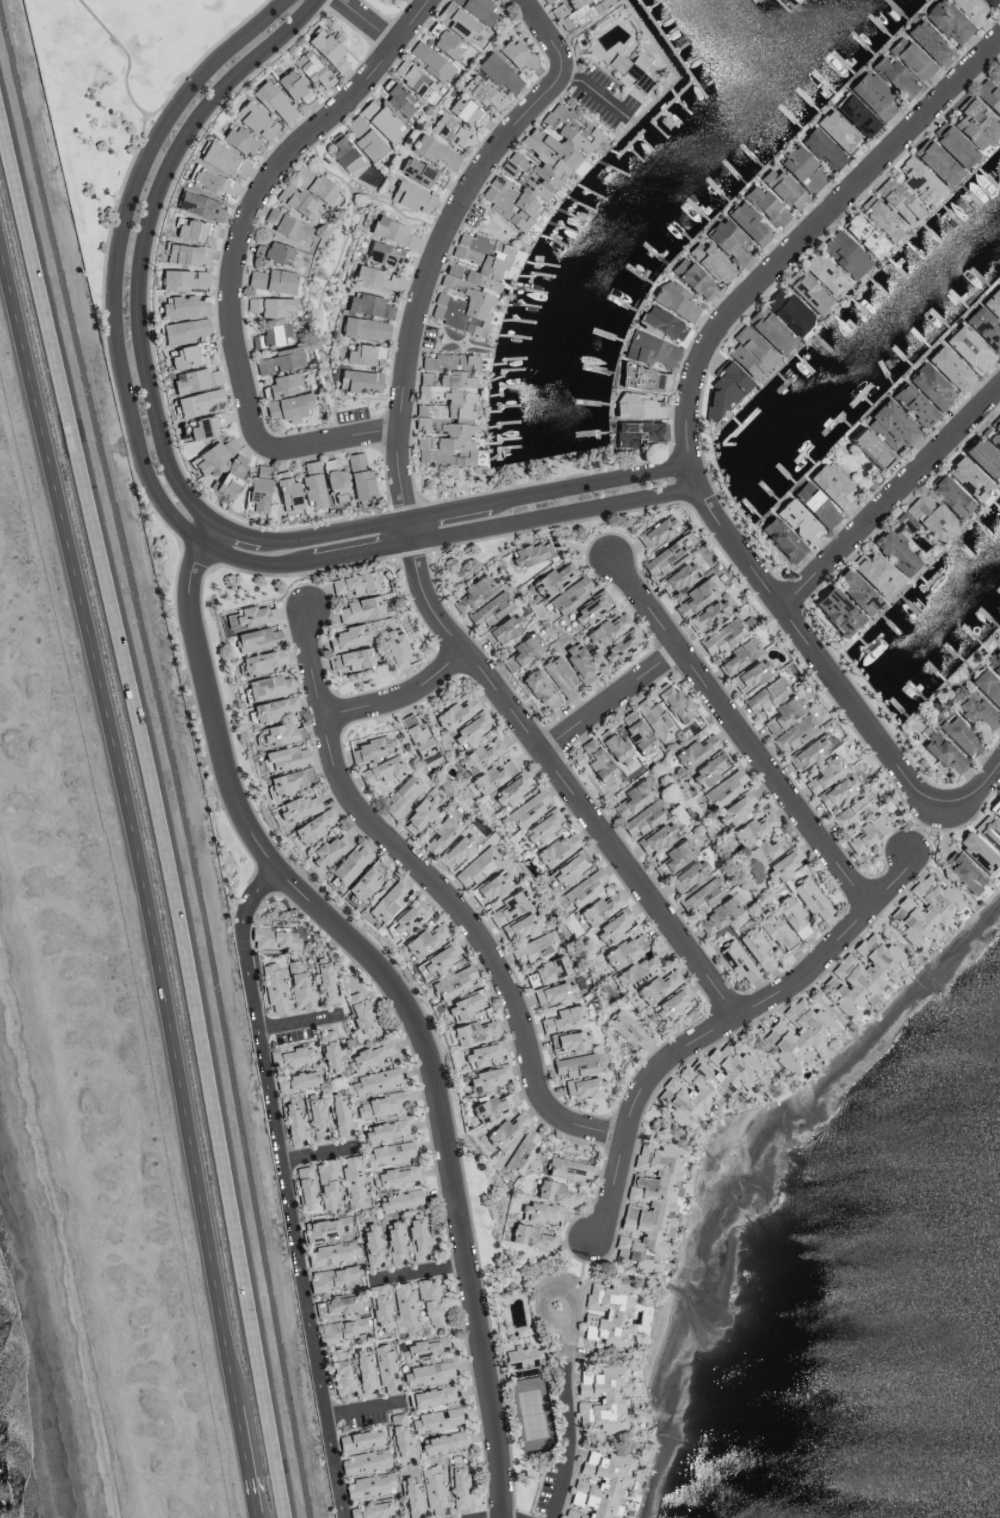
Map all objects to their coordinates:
building: (545, 1)
building: (989, 2)
building: (475, 9)
building: (970, 9)
building: (575, 11)
building: (456, 20)
road: (368, 21)
building: (945, 21)
building: (926, 41)
building: (445, 43)
building: (326, 50)
building: (515, 54)
building: (908, 57)
building: (428, 60)
road: (127, 65)
building: (310, 69)
building: (629, 69)
building: (997, 70)
building: (496, 71)
building: (892, 75)
building: (413, 81)
building: (290, 85)
park: (114, 91)
building: (481, 92)
road: (595, 93)
building: (870, 94)
building: (988, 96)
building: (397, 98)
building: (270, 101)
building: (465, 112)
building: (853, 115)
building: (253, 119)
building: (379, 119)
building: (974, 123)
building: (834, 130)
building: (450, 132)
building: (363, 138)
building: (235, 139)
building: (951, 143)
building: (820, 149)
building: (434, 151)
building: (341, 154)
building: (220, 159)
building: (934, 161)
building: (537, 163)
building: (799, 168)
building: (210, 181)
building: (917, 181)
building: (312, 184)
building: (780, 187)
building: (410, 197)
building: (895, 200)
building: (295, 202)
building: (197, 205)
building: (764, 205)
building: (879, 218)
building: (746, 222)
building: (284, 225)
building: (191, 229)
building: (390, 231)
building: (860, 234)
road: (447, 238)
building: (723, 238)
building: (186, 253)
building: (276, 253)
building: (383, 253)
building: (842, 254)
road: (238, 258)
building: (707, 261)
building: (822, 273)
building: (374, 278)
building: (691, 278)
building: (181, 279)
building: (270, 280)
building: (468, 283)
building: (805, 290)
building: (673, 302)
building: (992, 303)
building: (368, 305)
building: (181, 306)
building: (268, 306)
building: (787, 310)
building: (660, 322)
building: (362, 328)
building: (983, 328)
building: (183, 330)
building: (767, 330)
building: (270, 334)
building: (966, 348)
building: (647, 349)
building: (747, 352)
building: (361, 353)
building: (181, 355)
building: (277, 361)
building: (947, 368)
building: (640, 378)
building: (194, 379)
building: (358, 380)
building: (278, 385)
building: (928, 386)
building: (722, 390)
building: (198, 401)
building: (911, 404)
building: (635, 405)
building: (286, 406)
building: (444, 410)
road: (689, 410)
building: (998, 410)
building: (203, 424)
building: (889, 425)
building: (634, 432)
building: (994, 435)
building: (868, 447)
building: (213, 453)
building: (981, 459)
building: (229, 474)
building: (357, 477)
building: (966, 478)
road: (173, 481)
building: (333, 482)
building: (309, 483)
building: (829, 483)
building: (256, 488)
building: (285, 493)
building: (947, 496)
road: (892, 497)
road: (161, 500)
building: (812, 504)
building: (928, 516)
building: (795, 521)
building: (654, 531)
building: (779, 538)
building: (895, 545)
building: (529, 553)
building: (664, 557)
building: (873, 573)
building: (676, 577)
building: (552, 578)
building: (352, 583)
building: (853, 591)
building: (471, 593)
building: (697, 594)
building: (569, 595)
building: (359, 608)
building: (590, 608)
building: (488, 610)
building: (834, 611)
building: (254, 615)
building: (706, 615)
building: (501, 628)
building: (605, 629)
building: (724, 634)
building: (345, 637)
building: (256, 638)
building: (998, 641)
building: (620, 645)
building: (393, 648)
building: (521, 650)
building: (737, 656)
building: (350, 658)
building: (259, 661)
building: (993, 661)
building: (577, 663)
building: (749, 674)
building: (559, 677)
building: (266, 686)
building: (985, 688)
building: (538, 689)
building: (763, 695)
road: (402, 698)
building: (671, 701)
road: (615, 703)
building: (272, 709)
building: (972, 709)
building: (783, 712)
building: (454, 713)
building: (654, 720)
building: (470, 728)
building: (634, 732)
building: (794, 733)
building: (279, 734)
road: (743, 736)
building: (956, 736)
building: (420, 742)
building: (367, 749)
building: (809, 750)
building: (616, 751)
building: (694, 751)
building: (940, 752)
building: (478, 755)
building: (283, 757)
road: (171, 759)
building: (595, 761)
building: (379, 770)
building: (706, 770)
building: (824, 773)
road: (560, 775)
building: (490, 776)
building: (288, 780)
building: (723, 789)
building: (510, 790)
road: (980, 790)
building: (835, 793)
building: (399, 796)
building: (633, 796)
building: (994, 807)
building: (295, 808)
road: (157, 809)
building: (524, 811)
building: (733, 811)
building: (852, 811)
building: (417, 814)
building: (643, 818)
building: (311, 826)
building: (542, 826)
building: (752, 829)
building: (867, 831)
building: (988, 831)
building: (440, 832)
road: (126, 833)
building: (655, 837)
building: (556, 848)
building: (326, 849)
building: (454, 851)
building: (763, 851)
building: (975, 851)
building: (673, 856)
building: (348, 863)
building: (475, 867)
building: (565, 869)
building: (962, 873)
building: (687, 875)
building: (362, 881)
building: (490, 885)
building: (584, 888)
road: (439, 890)
building: (701, 895)
building: (809, 897)
building: (383, 903)
building: (561, 903)
building: (507, 906)
building: (598, 908)
building: (925, 910)
building: (716, 916)
building: (405, 918)
building: (519, 926)
building: (612, 926)
building: (774, 932)
building: (273, 939)
building: (422, 940)
building: (532, 947)
building: (753, 947)
building: (622, 950)
building: (436, 960)
building: (735, 960)
building: (548, 969)
building: (863, 972)
building: (633, 973)
building: (323, 981)
building: (452, 982)
building: (297, 986)
building: (271, 987)
building: (655, 987)
road: (395, 993)
building: (551, 993)
building: (672, 1003)
building: (459, 1005)
building: (358, 1014)
building: (561, 1018)
road: (303, 1029)
building: (626, 1030)
building: (471, 1031)
road: (721, 1032)
building: (796, 1034)
building: (568, 1041)
building: (478, 1054)
building: (368, 1055)
building: (292, 1057)
building: (574, 1065)
building: (485, 1078)
building: (294, 1080)
building: (374, 1081)
building: (707, 1083)
building: (583, 1087)
building: (507, 1099)
building: (379, 1105)
building: (487, 1108)
building: (337, 1114)
building: (314, 1117)
building: (291, 1124)
building: (383, 1130)
building: (503, 1131)
building: (521, 1152)
building: (386, 1154)
road: (322, 1162)
building: (566, 1169)
building: (395, 1176)
building: (351, 1180)
building: (325, 1184)
building: (303, 1187)
road: (286, 1190)
building: (554, 1193)
building: (397, 1200)
building: (648, 1206)
building: (538, 1213)
building: (321, 1229)
building: (416, 1237)
building: (528, 1237)
building: (391, 1243)
building: (370, 1245)
building: (331, 1254)
building: (330, 1278)
road: (418, 1280)
building: (429, 1303)
building: (337, 1304)
building: (403, 1306)
building: (379, 1308)
building: (608, 1313)
building: (341, 1329)
building: (424, 1349)
building: (519, 1356)
building: (384, 1368)
building: (361, 1371)
building: (339, 1374)
building: (425, 1374)
building: (430, 1396)
building: (601, 1399)
road: (363, 1418)
road: (568, 1418)
building: (433, 1422)
building: (397, 1434)
building: (357, 1440)
building: (439, 1442)
road: (245, 1462)
building: (363, 1462)
building: (597, 1484)
building: (367, 1485)
building: (456, 1487)
building: (432, 1491)
building: (409, 1497)
building: (371, 1510)

